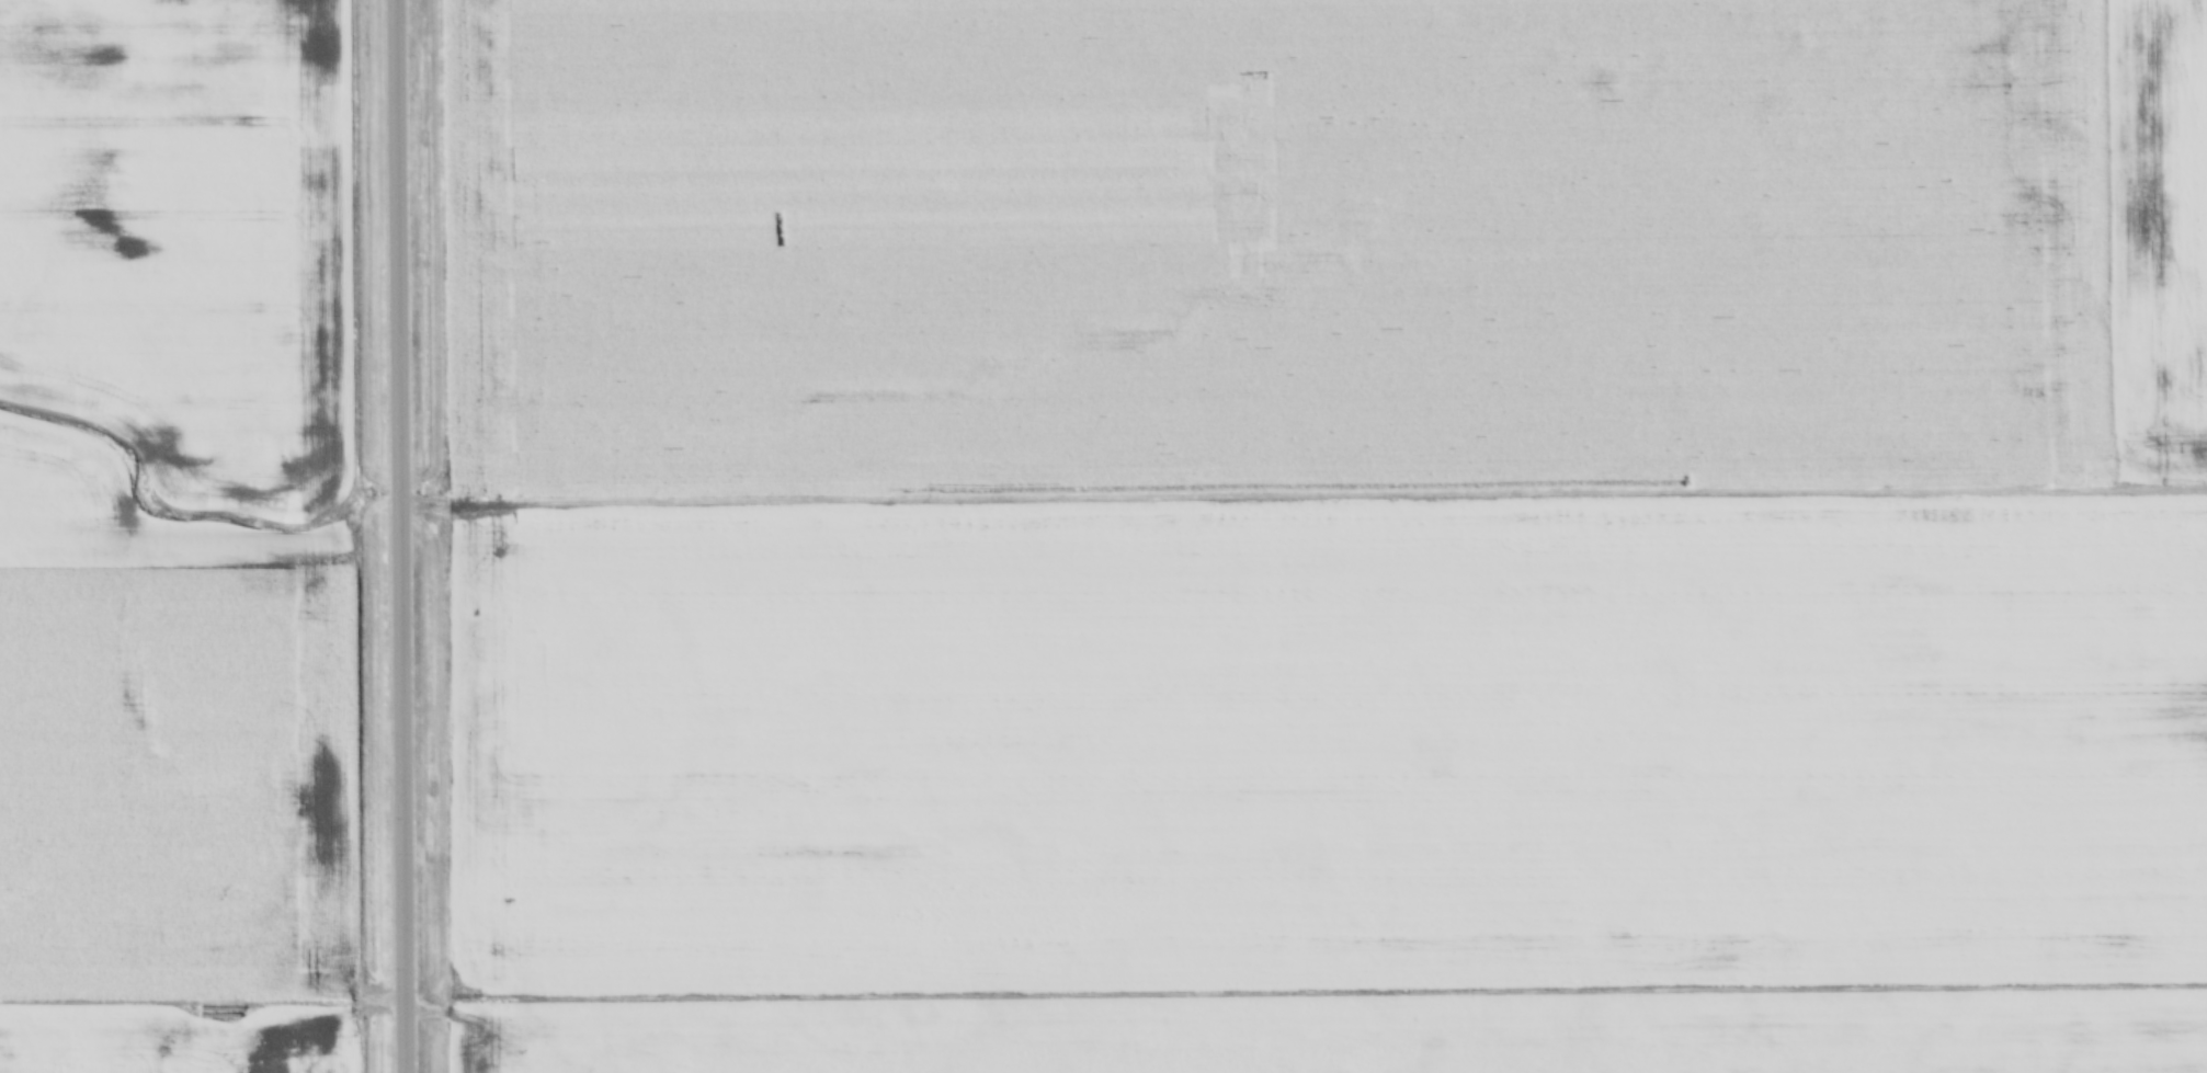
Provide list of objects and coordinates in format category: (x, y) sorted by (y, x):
road: (394, 536)

